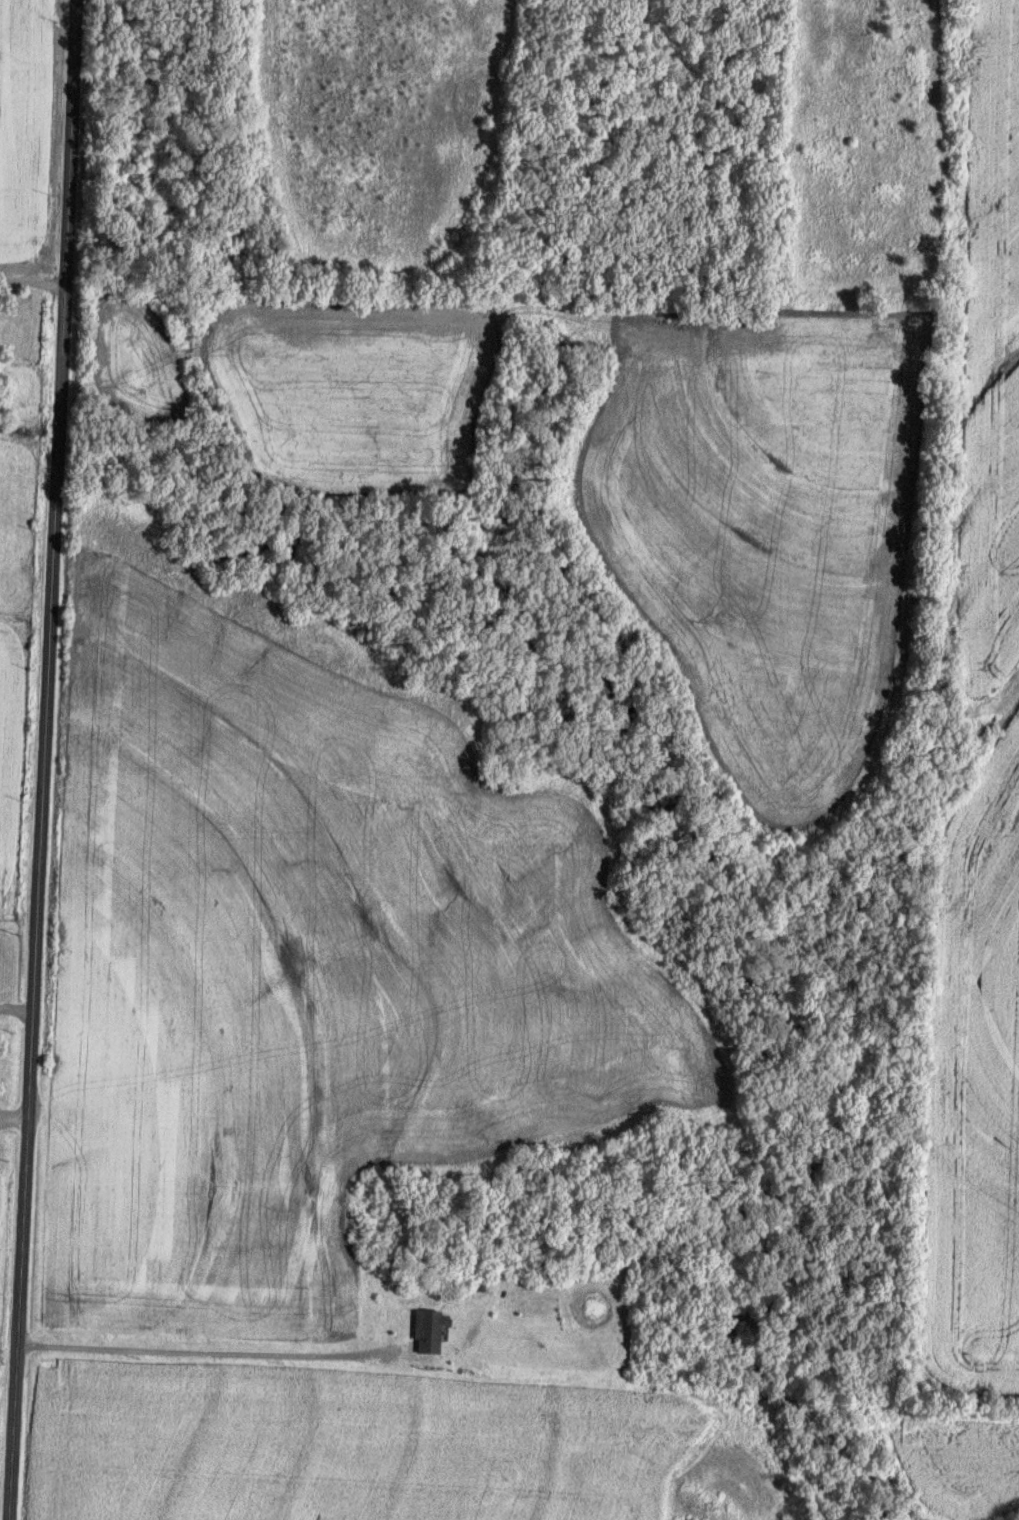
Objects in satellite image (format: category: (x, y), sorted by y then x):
road: (31, 280)
road: (43, 760)
road: (206, 1351)

